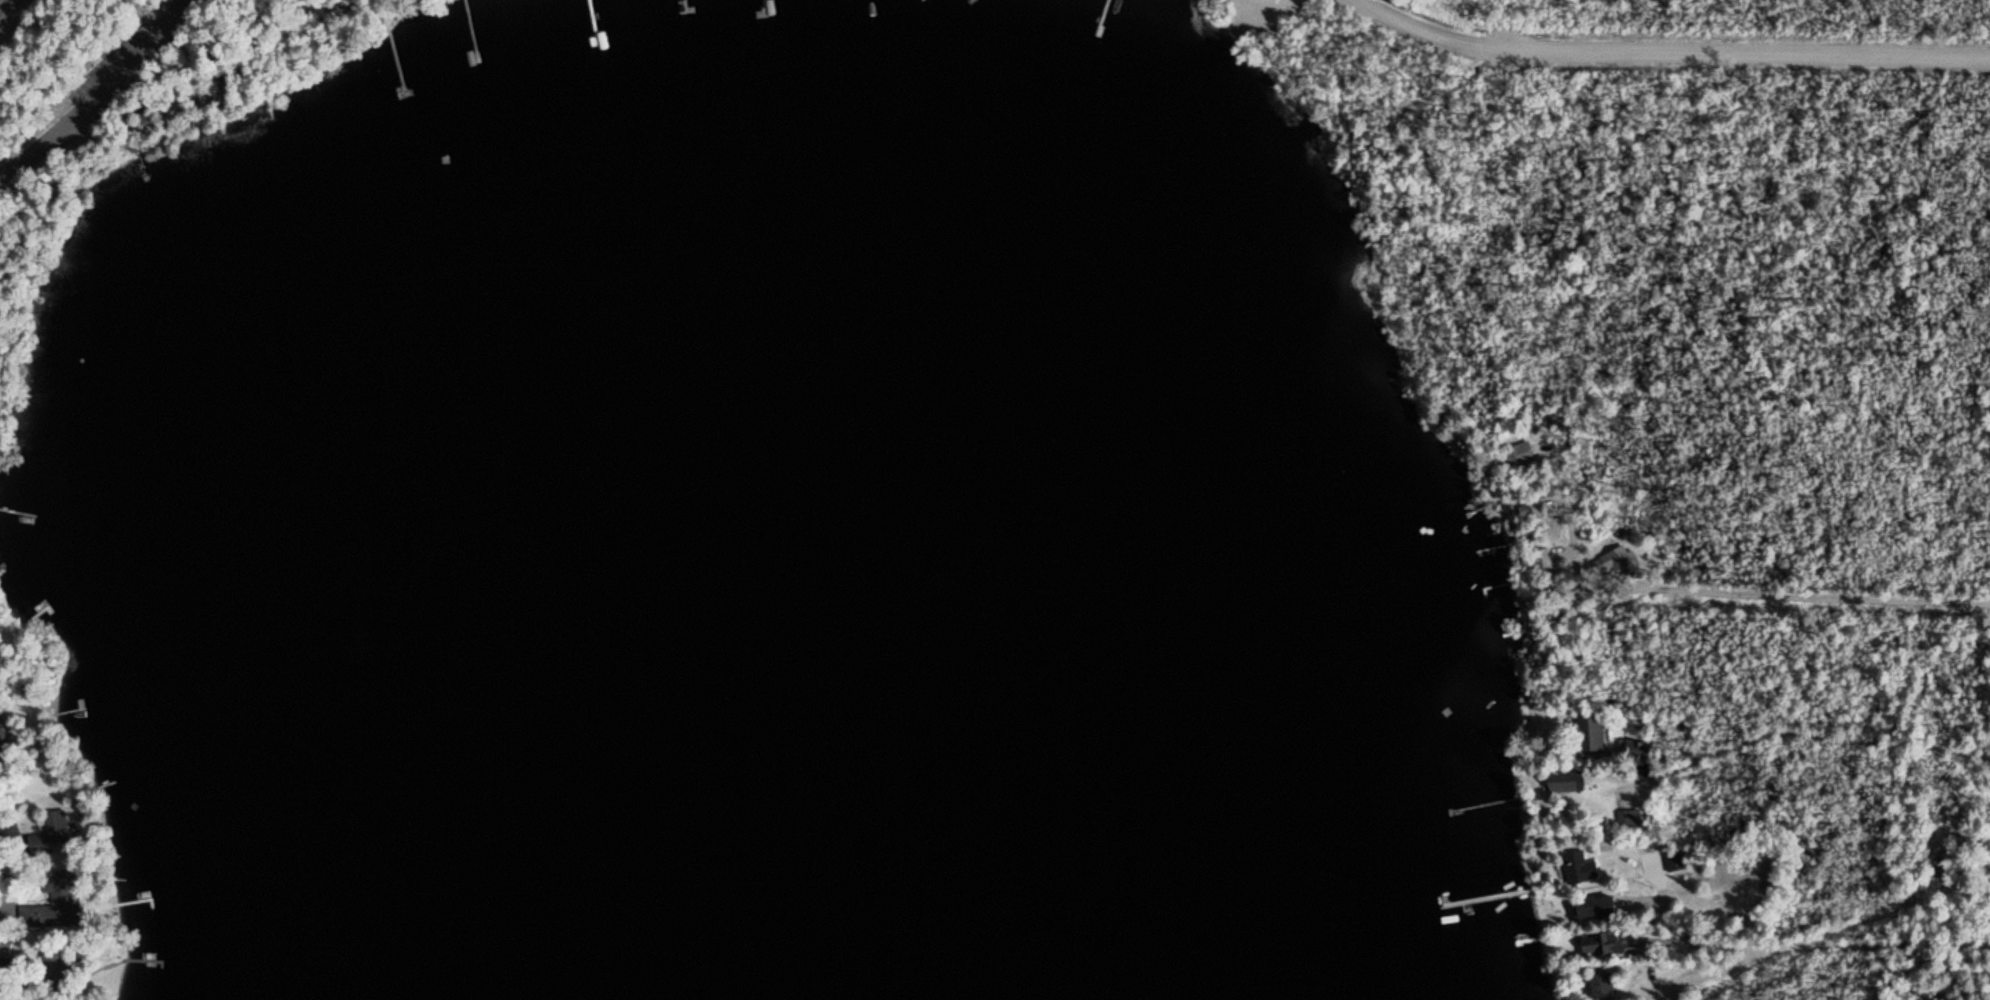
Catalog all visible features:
road: (0, 0)
parking lot: (1252, 13)
road: (1268, 14)
road: (1236, 31)
road: (1668, 49)
parking lot: (120, 65)
road: (103, 97)
building: (1522, 453)
road: (1564, 474)
building: (1531, 512)
road: (1793, 597)
building: (4, 733)
road: (1808, 738)
building: (1570, 781)
building: (53, 833)
building: (1675, 862)
building: (1583, 871)
building: (55, 901)
building: (1603, 907)
building: (6, 942)
building: (1608, 944)
road: (1840, 945)
building: (60, 963)
building: (1607, 985)

